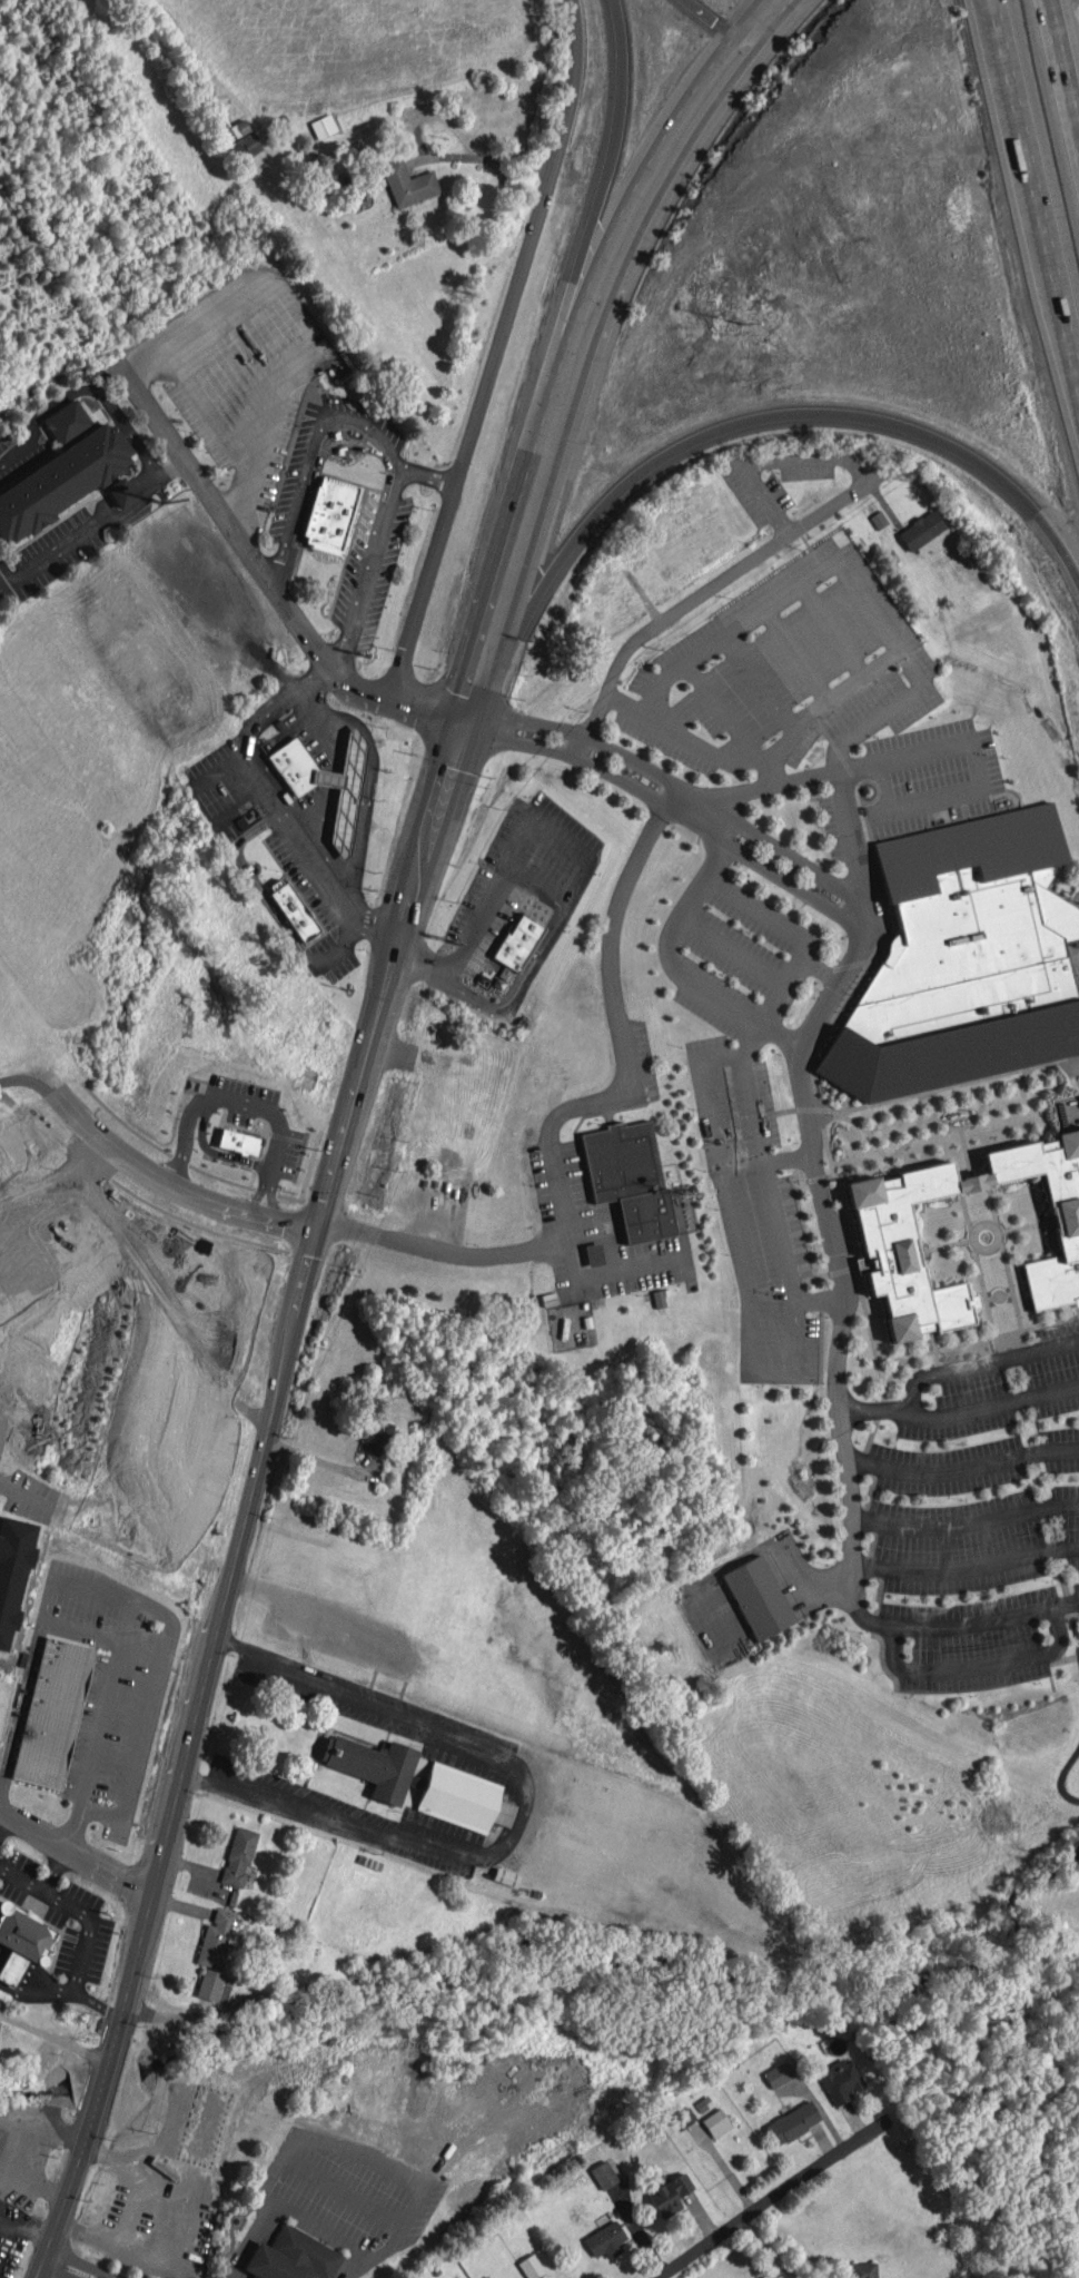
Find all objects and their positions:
road: (759, 17)
road: (721, 18)
road: (1063, 63)
building: (323, 126)
building: (242, 140)
road: (427, 157)
building: (407, 183)
road: (600, 191)
road: (1032, 198)
road: (641, 200)
road: (496, 348)
parking lot: (236, 381)
road: (99, 395)
road: (771, 415)
building: (67, 422)
road: (352, 432)
road: (12, 442)
road: (348, 446)
road: (255, 450)
road: (311, 453)
road: (168, 464)
road: (427, 477)
road: (142, 480)
building: (60, 481)
parking lot: (769, 487)
building: (119, 492)
road: (121, 494)
building: (330, 515)
building: (922, 532)
road: (57, 544)
road: (244, 544)
road: (514, 549)
road: (367, 568)
road: (707, 589)
road: (899, 644)
parking lot: (816, 702)
road: (432, 703)
road: (885, 711)
traffic signals: (466, 716)
road: (485, 721)
road: (605, 744)
gas station: (294, 766)
road: (978, 767)
road: (770, 770)
road: (369, 772)
road: (788, 783)
building: (344, 790)
road: (273, 799)
building: (862, 809)
road: (689, 816)
road: (518, 845)
road: (778, 848)
road: (853, 872)
road: (255, 881)
road: (693, 897)
road: (756, 906)
building: (293, 908)
road: (610, 931)
road: (340, 943)
building: (518, 943)
road: (734, 949)
building: (963, 960)
parking lot: (727, 963)
road: (818, 969)
road: (518, 980)
road: (788, 983)
road: (828, 989)
road: (725, 1004)
parking lot: (644, 1059)
road: (740, 1059)
road: (219, 1096)
road: (585, 1103)
building: (1063, 1105)
building: (239, 1141)
road: (210, 1150)
road: (735, 1160)
road: (259, 1162)
building: (627, 1177)
road: (556, 1183)
road: (169, 1184)
road: (259, 1189)
road: (271, 1191)
parking lot: (755, 1213)
traffic signals: (316, 1223)
road: (824, 1226)
parking lot: (594, 1235)
building: (885, 1241)
road: (440, 1251)
building: (592, 1254)
road: (815, 1298)
road: (166, 1309)
road: (949, 1368)
road: (771, 1371)
road: (982, 1417)
building: (376, 1437)
road: (962, 1471)
road: (249, 1496)
parking lot: (983, 1525)
road: (963, 1531)
building: (12, 1570)
road: (963, 1576)
building: (756, 1597)
road: (149, 1608)
road: (971, 1630)
road: (38, 1634)
road: (890, 1641)
building: (51, 1712)
building: (373, 1765)
building: (463, 1798)
road: (521, 1812)
road: (3, 1826)
building: (238, 1856)
road: (73, 1860)
road: (40, 1890)
road: (88, 1930)
building: (218, 1937)
building: (22, 1941)
road: (10, 1972)
building: (214, 1985)
road: (71, 1994)
building: (259, 2002)
road: (55, 2034)
building: (778, 2073)
building: (840, 2080)
building: (715, 2122)
building: (792, 2122)
building: (602, 2175)
road: (161, 2190)
road: (415, 2192)
building: (669, 2195)
road: (186, 2205)
road: (129, 2206)
road: (742, 2218)
road: (23, 2232)
building: (605, 2239)
road: (246, 2240)
road: (766, 2248)
building: (291, 2256)
road: (50, 2258)
road: (71, 2260)
road: (352, 2266)
building: (529, 2266)
building: (862, 2269)

